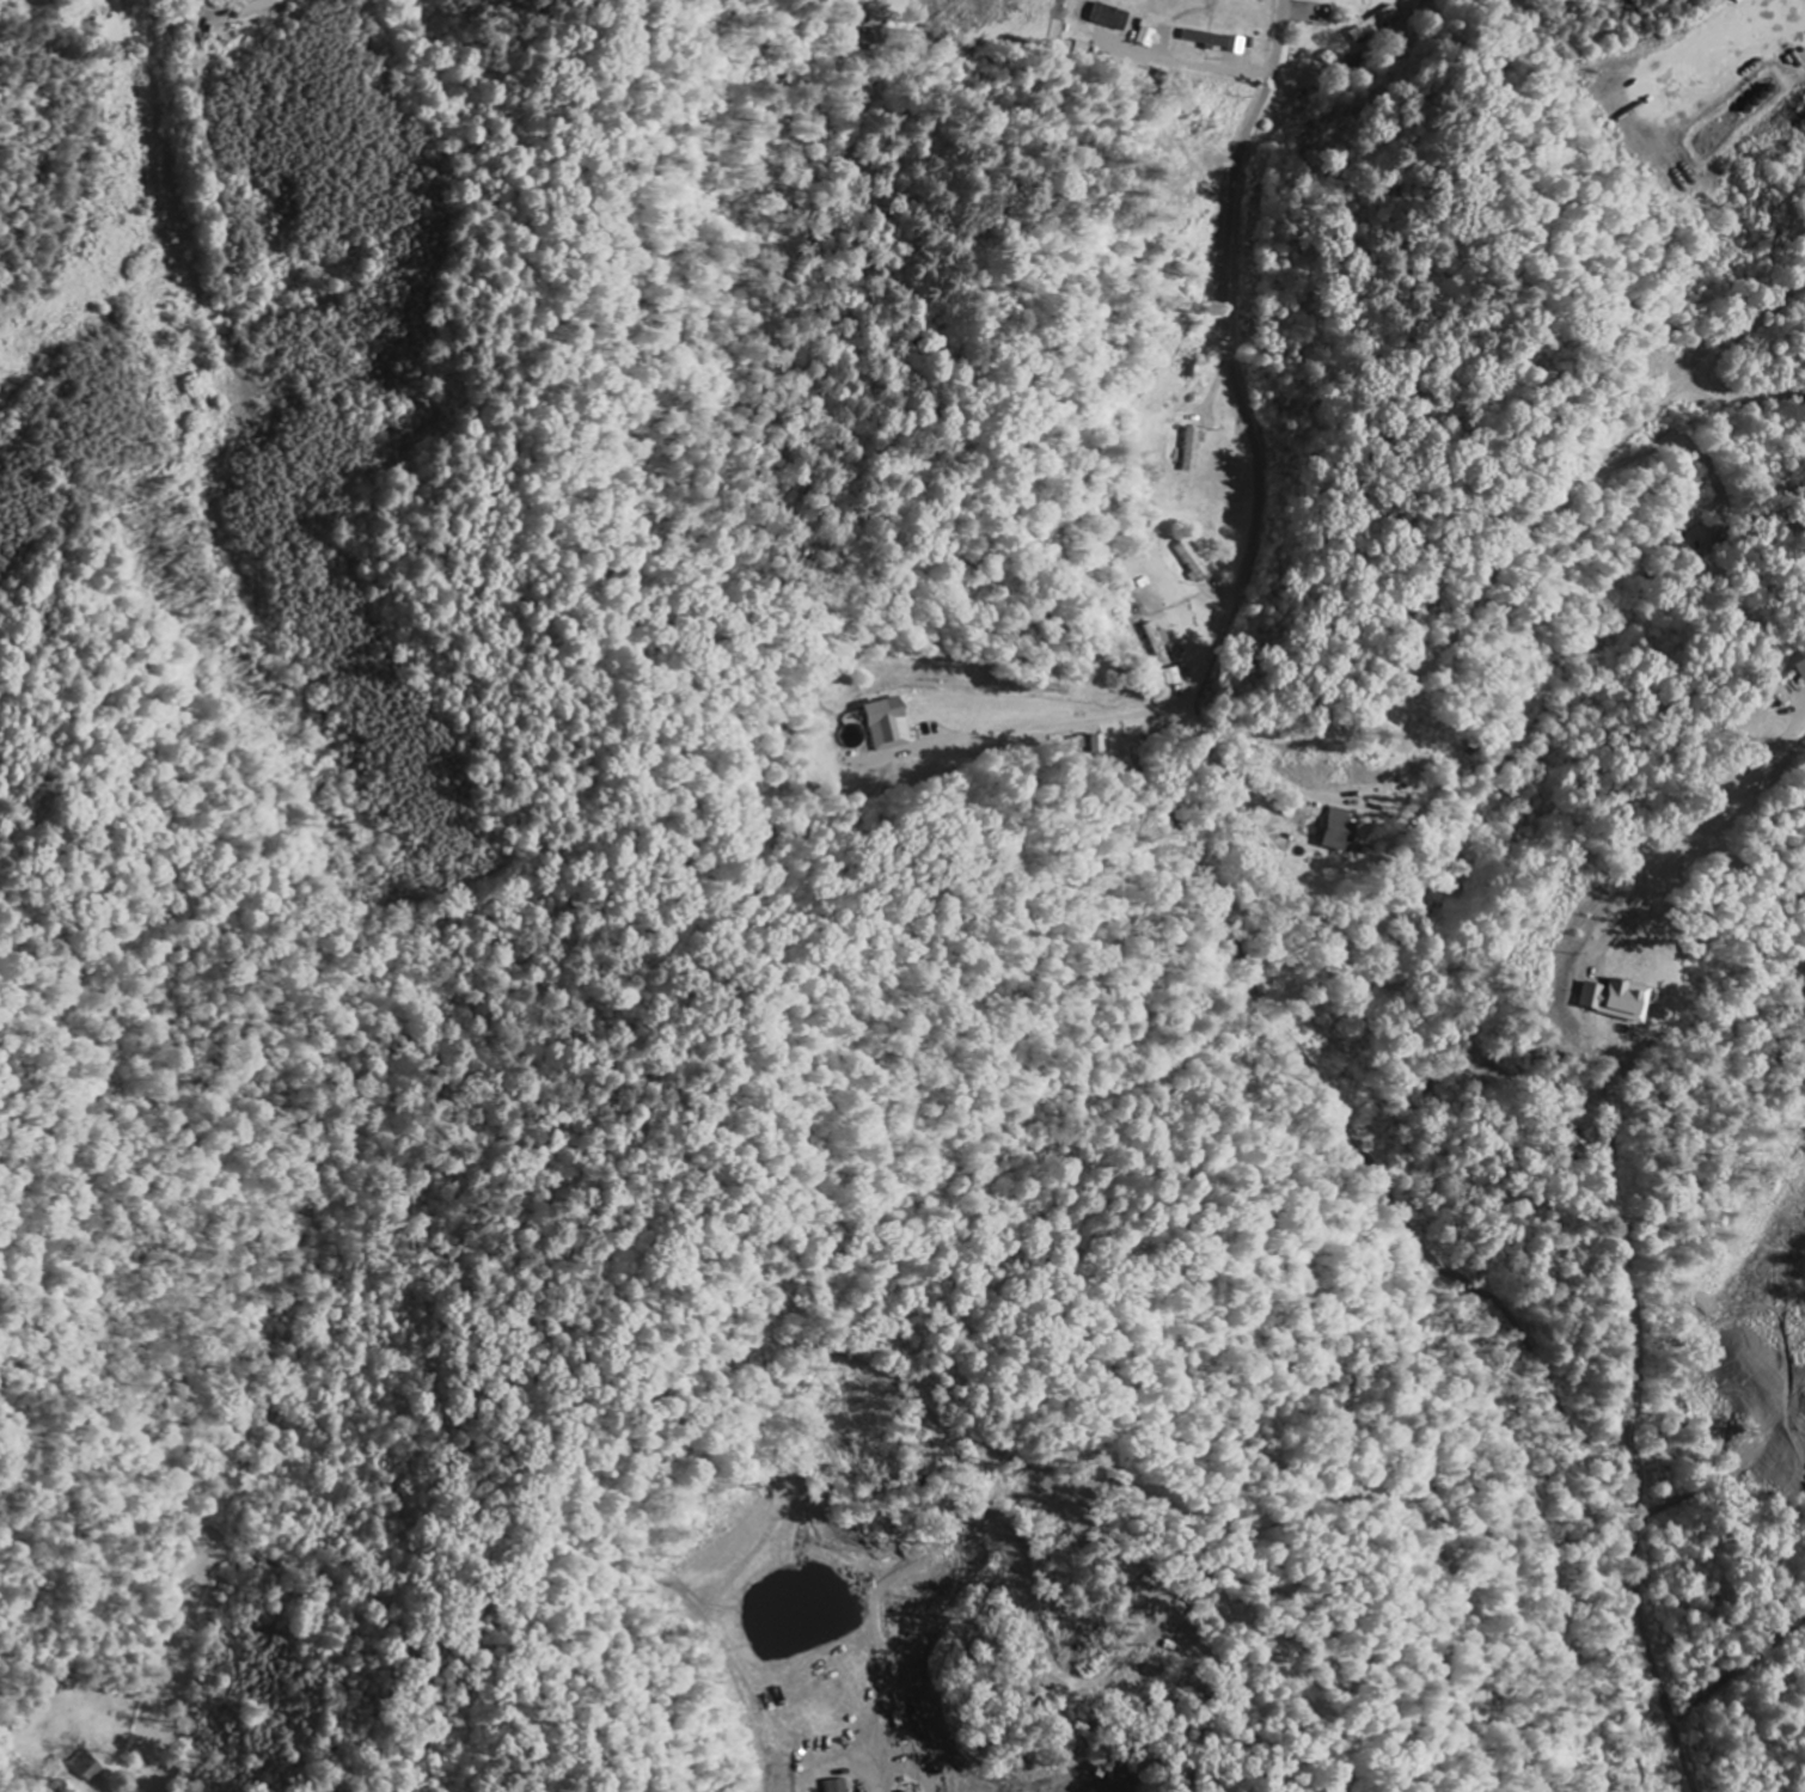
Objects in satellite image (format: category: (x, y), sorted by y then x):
building: (258, 7)
building: (858, 41)
road: (169, 171)
road: (1707, 359)
building: (1195, 563)
road: (1199, 678)
building: (891, 726)
building: (1096, 746)
road: (1705, 811)
building: (1345, 828)
road: (1075, 887)
building: (1617, 999)
building: (90, 1766)
building: (842, 1786)

